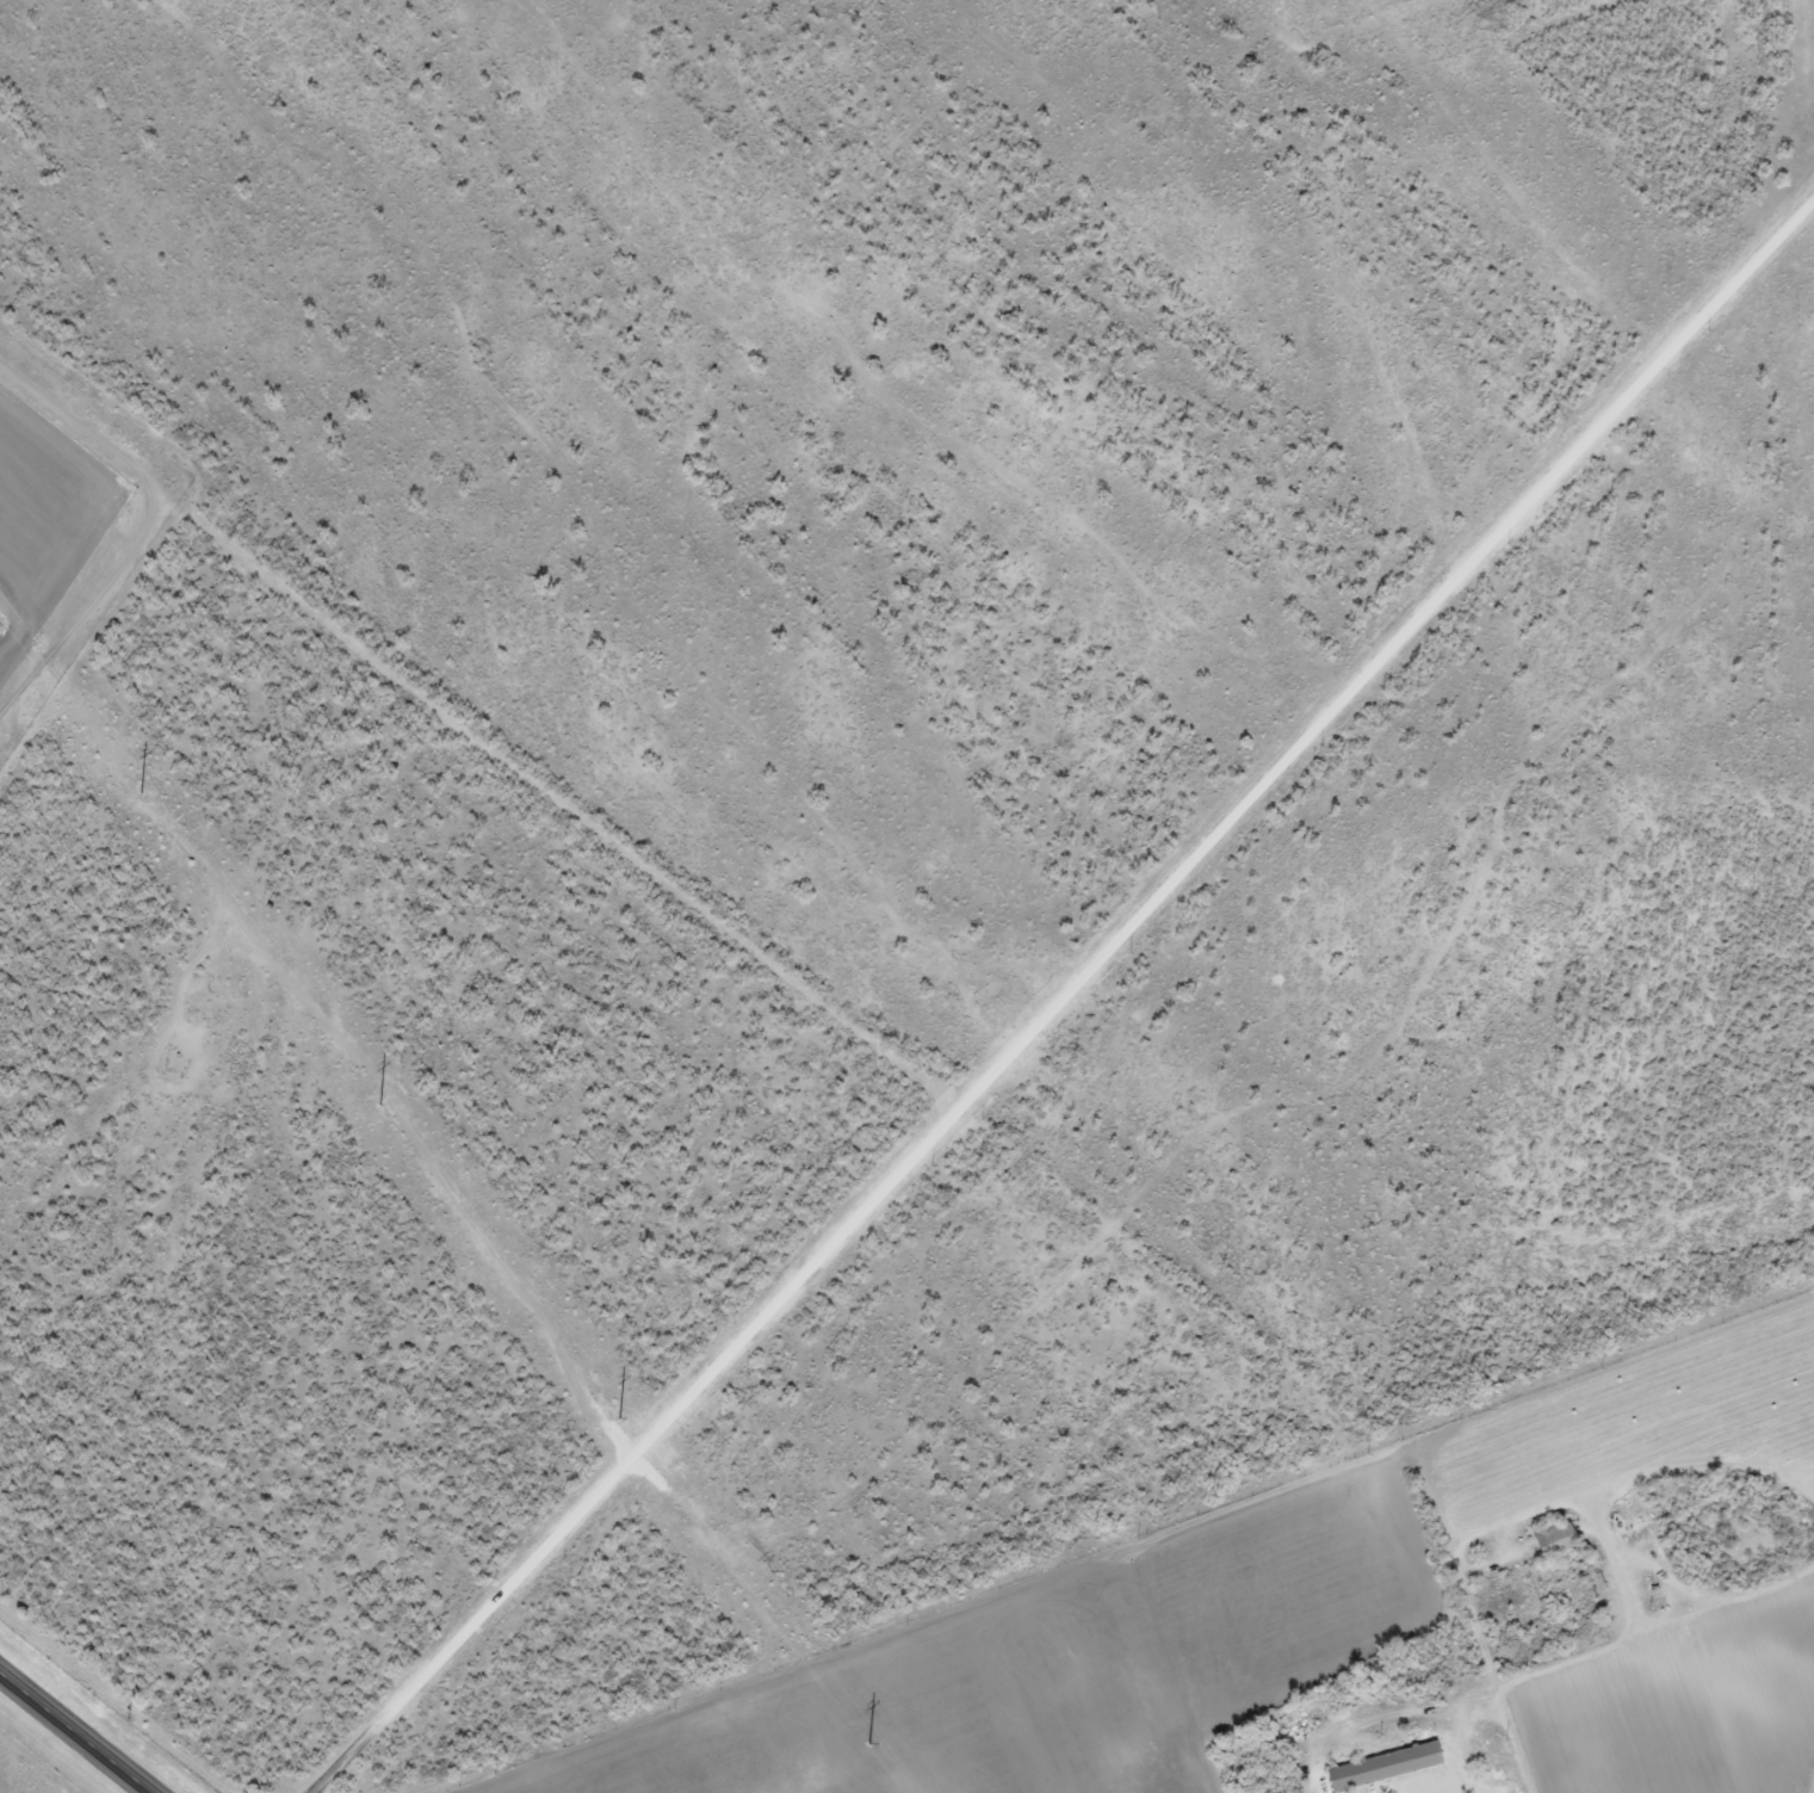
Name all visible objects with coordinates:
power tower: (132, 781)
road: (1066, 997)
power tower: (372, 1096)
power tower: (611, 1408)
building: (1552, 1538)
road: (1603, 1656)
railway: (120, 1694)
road: (80, 1730)
power tower: (859, 1735)
building: (1383, 1767)

